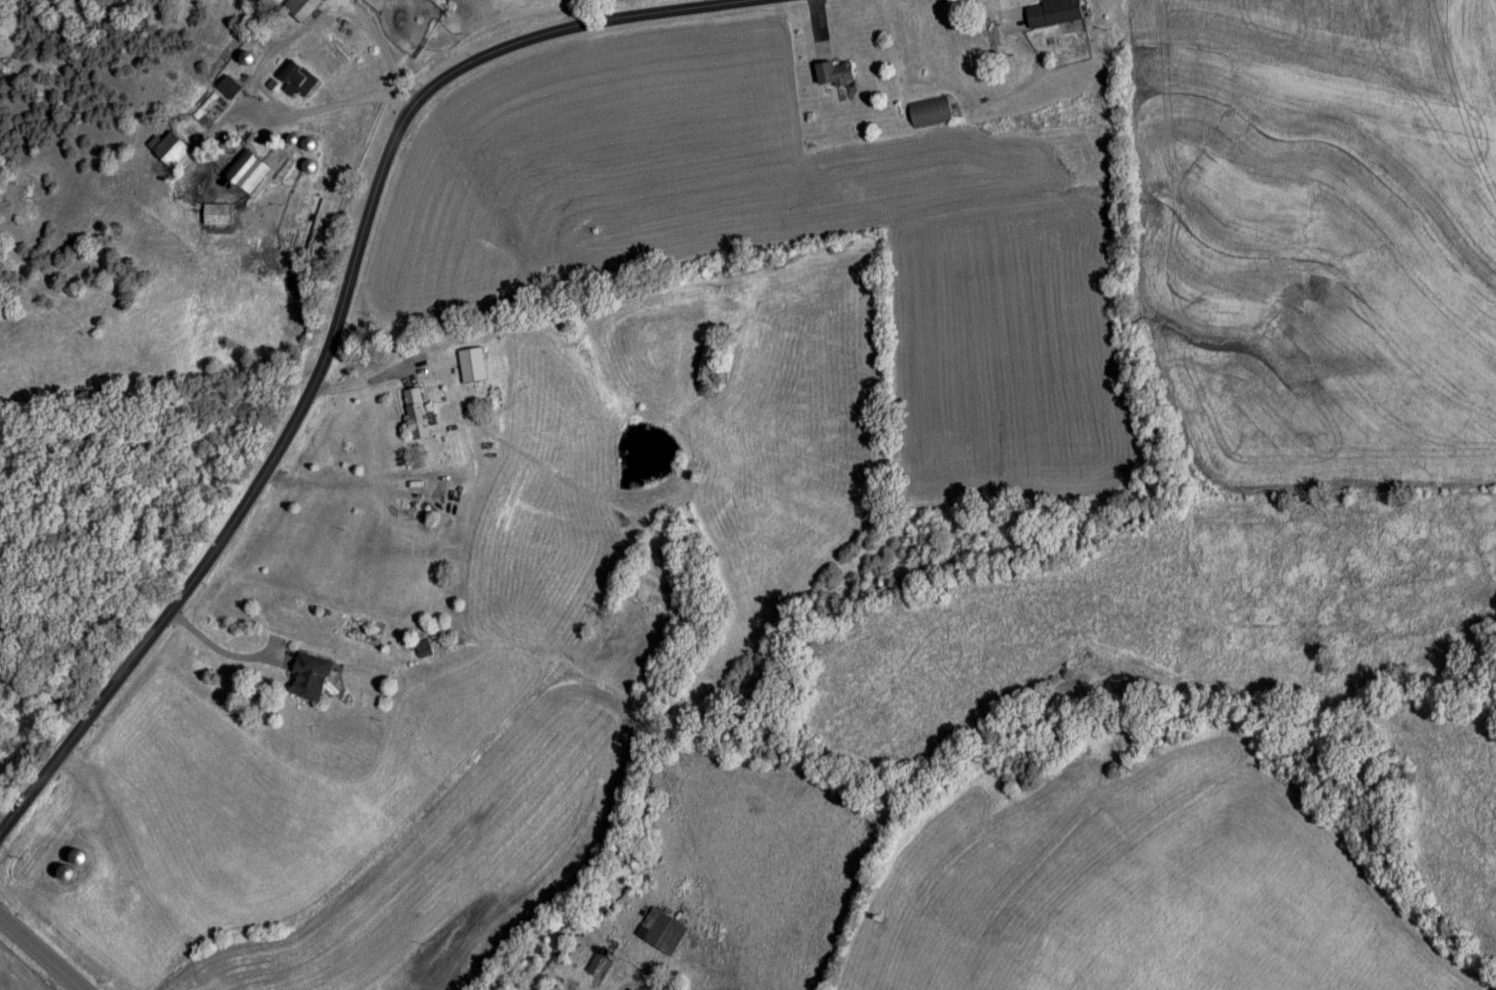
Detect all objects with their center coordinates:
building: (376, 4)
building: (302, 9)
building: (1056, 14)
building: (837, 75)
building: (299, 82)
building: (229, 90)
building: (931, 113)
building: (174, 155)
building: (249, 172)
building: (217, 215)
road: (343, 316)
building: (473, 367)
building: (418, 415)
building: (6, 633)
building: (423, 650)
building: (311, 678)
building: (81, 860)
building: (661, 933)
road: (35, 955)
building: (598, 966)

